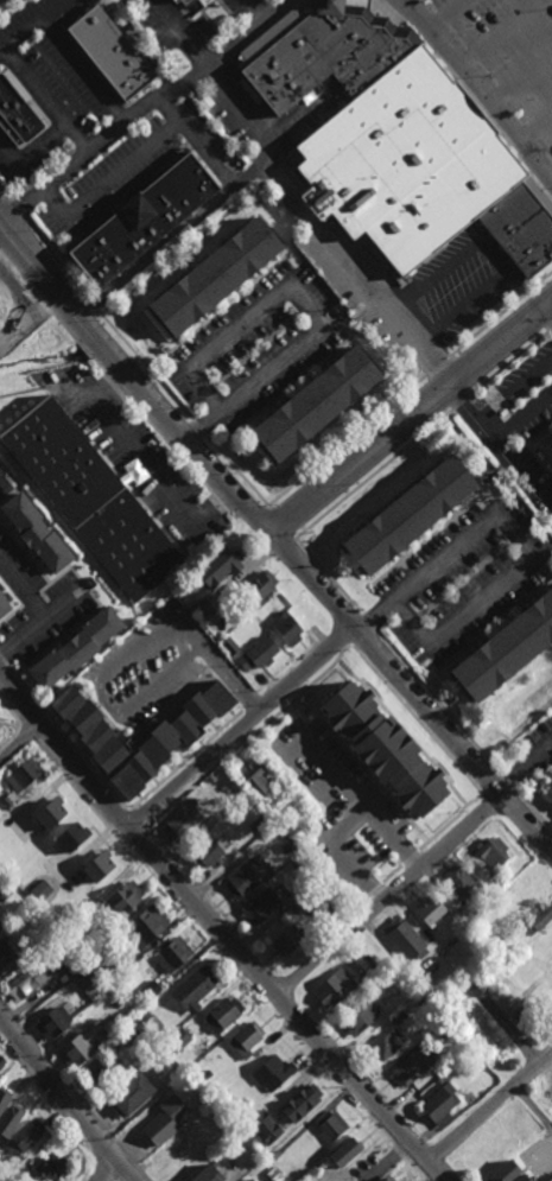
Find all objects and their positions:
road: (2, 1)
building: (175, 1)
road: (260, 11)
road: (448, 15)
road: (31, 25)
road: (500, 33)
road: (179, 34)
road: (271, 34)
building: (108, 51)
parking lot: (506, 52)
road: (83, 71)
road: (521, 78)
road: (477, 89)
road: (468, 93)
road: (47, 100)
road: (145, 108)
building: (17, 110)
road: (535, 127)
road: (197, 142)
building: (396, 142)
road: (31, 152)
road: (110, 182)
building: (191, 182)
road: (6, 193)
road: (18, 209)
building: (147, 218)
road: (321, 231)
road: (173, 236)
road: (493, 255)
building: (99, 258)
road: (55, 259)
building: (214, 275)
road: (304, 299)
road: (91, 305)
road: (548, 310)
road: (501, 311)
road: (551, 326)
road: (509, 361)
road: (438, 363)
road: (146, 366)
road: (514, 387)
road: (461, 402)
building: (313, 404)
road: (522, 414)
road: (411, 417)
road: (199, 427)
road: (347, 439)
road: (501, 447)
building: (547, 449)
road: (236, 470)
road: (141, 471)
road: (374, 474)
building: (90, 499)
building: (407, 516)
road: (279, 522)
building: (36, 533)
road: (274, 538)
road: (525, 540)
building: (217, 569)
road: (329, 577)
building: (258, 589)
building: (2, 608)
road: (33, 609)
building: (202, 611)
road: (370, 624)
building: (286, 630)
building: (229, 646)
building: (76, 648)
building: (506, 652)
building: (258, 656)
road: (229, 679)
road: (99, 687)
road: (439, 701)
road: (47, 711)
park: (5, 724)
building: (89, 728)
road: (242, 728)
building: (170, 737)
road: (20, 744)
building: (383, 749)
road: (524, 766)
road: (331, 767)
building: (23, 774)
building: (254, 777)
road: (550, 777)
road: (506, 780)
building: (226, 786)
building: (6, 801)
building: (297, 804)
building: (44, 809)
road: (533, 809)
building: (180, 819)
building: (254, 820)
road: (347, 823)
building: (65, 834)
building: (25, 843)
building: (285, 845)
building: (204, 850)
building: (489, 850)
building: (99, 866)
building: (53, 868)
building: (246, 874)
building: (458, 878)
building: (497, 880)
building: (526, 883)
building: (2, 889)
building: (294, 891)
road: (388, 894)
building: (34, 896)
building: (122, 896)
building: (326, 899)
building: (58, 901)
building: (259, 903)
building: (305, 903)
building: (90, 904)
building: (293, 908)
building: (429, 908)
building: (464, 912)
building: (512, 916)
building: (538, 918)
building: (0, 921)
building: (144, 923)
building: (0, 927)
road: (218, 929)
building: (404, 936)
building: (287, 938)
building: (4, 944)
building: (32, 944)
building: (171, 952)
building: (501, 952)
building: (71, 963)
building: (484, 963)
building: (375, 969)
building: (108, 970)
building: (28, 977)
building: (83, 977)
building: (474, 983)
building: (332, 985)
building: (192, 986)
building: (147, 991)
building: (432, 992)
building: (388, 996)
building: (419, 997)
building: (114, 1001)
building: (221, 1012)
building: (145, 1015)
building: (398, 1015)
building: (434, 1015)
building: (357, 1016)
building: (51, 1021)
building: (484, 1026)
building: (133, 1027)
building: (445, 1028)
building: (160, 1031)
building: (245, 1037)
building: (177, 1039)
building: (385, 1043)
building: (76, 1049)
building: (1, 1061)
building: (414, 1062)
building: (476, 1066)
building: (272, 1071)
building: (102, 1072)
building: (129, 1090)
building: (4, 1098)
building: (545, 1098)
road: (66, 1099)
building: (299, 1100)
building: (439, 1104)
road: (489, 1106)
building: (241, 1116)
building: (9, 1118)
building: (167, 1118)
building: (204, 1118)
building: (328, 1125)
building: (264, 1126)
building: (528, 1131)
building: (550, 1131)
building: (24, 1135)
building: (510, 1143)
building: (349, 1153)
building: (484, 1153)
building: (179, 1155)
road: (386, 1161)
building: (51, 1167)
road: (107, 1169)
building: (507, 1172)
building: (205, 1174)
building: (521, 1177)
building: (248, 1179)
building: (386, 1179)
building: (2, 1180)

